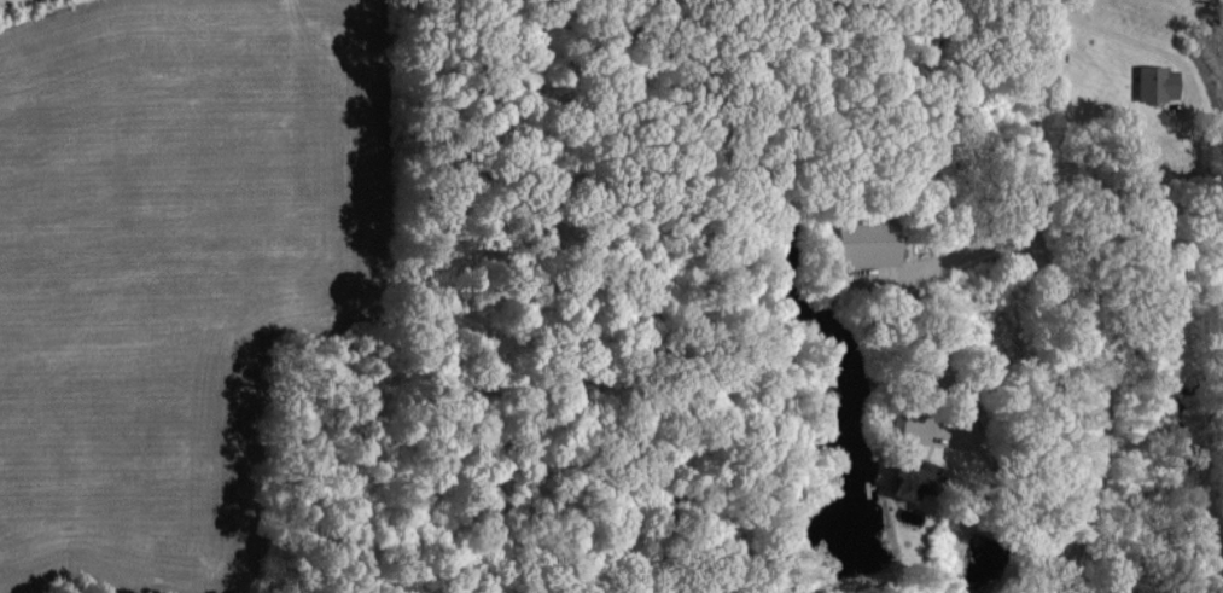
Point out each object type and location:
road: (1033, 51)
building: (1153, 81)
building: (863, 242)
road: (1085, 345)
road: (949, 373)
road: (910, 414)
building: (890, 420)
building: (905, 477)

